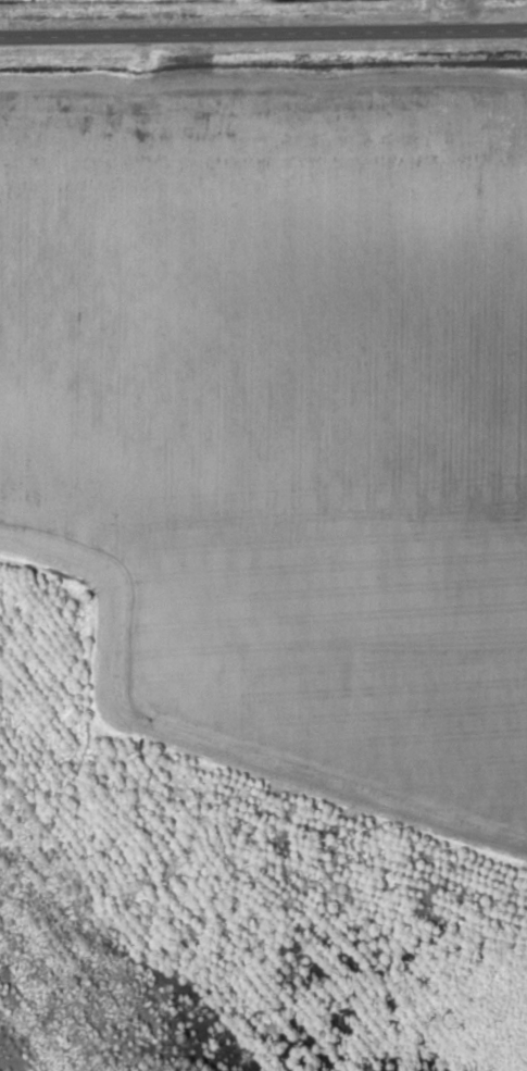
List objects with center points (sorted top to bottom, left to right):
road: (263, 32)
road: (87, 572)

